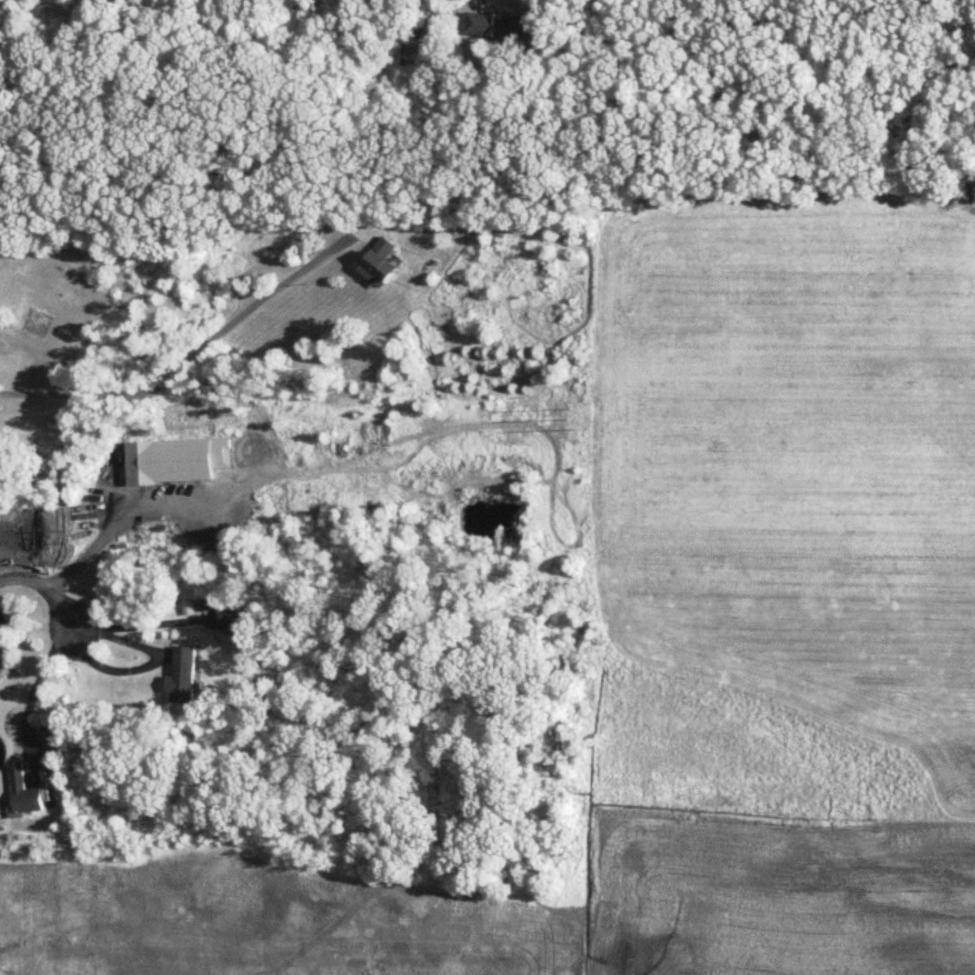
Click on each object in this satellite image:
building: (497, 26)
building: (426, 54)
building: (1, 260)
building: (380, 264)
road: (192, 357)
building: (170, 463)
road: (113, 531)
road: (45, 588)
building: (232, 620)
road: (139, 624)
road: (147, 665)
building: (184, 676)
road: (36, 686)
building: (22, 793)

